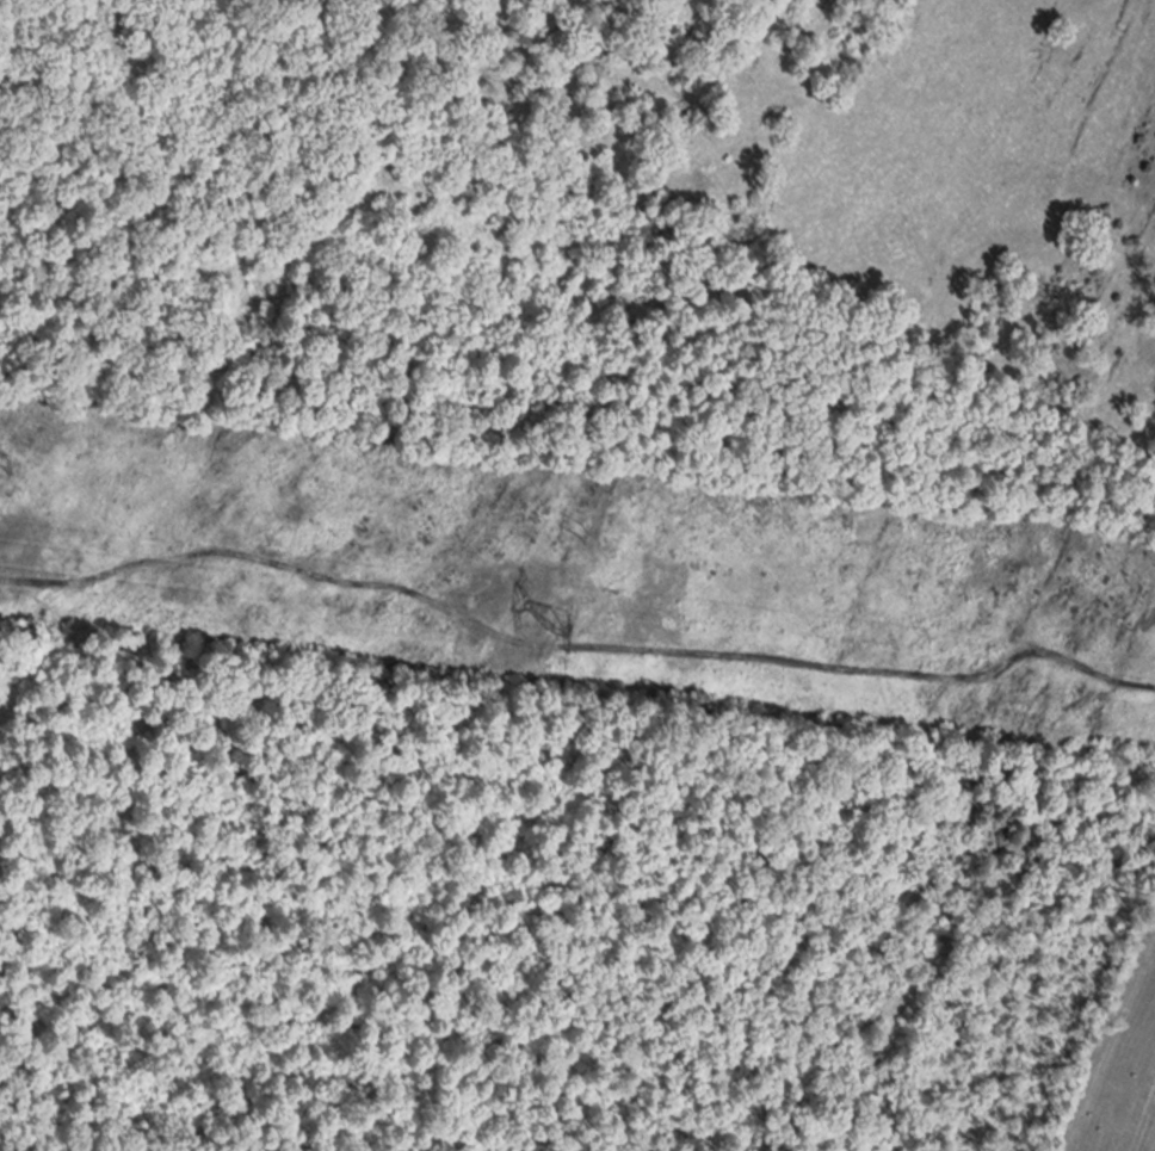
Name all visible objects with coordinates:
power tower: (19, 454)
power tower: (581, 516)
power tower: (508, 588)

